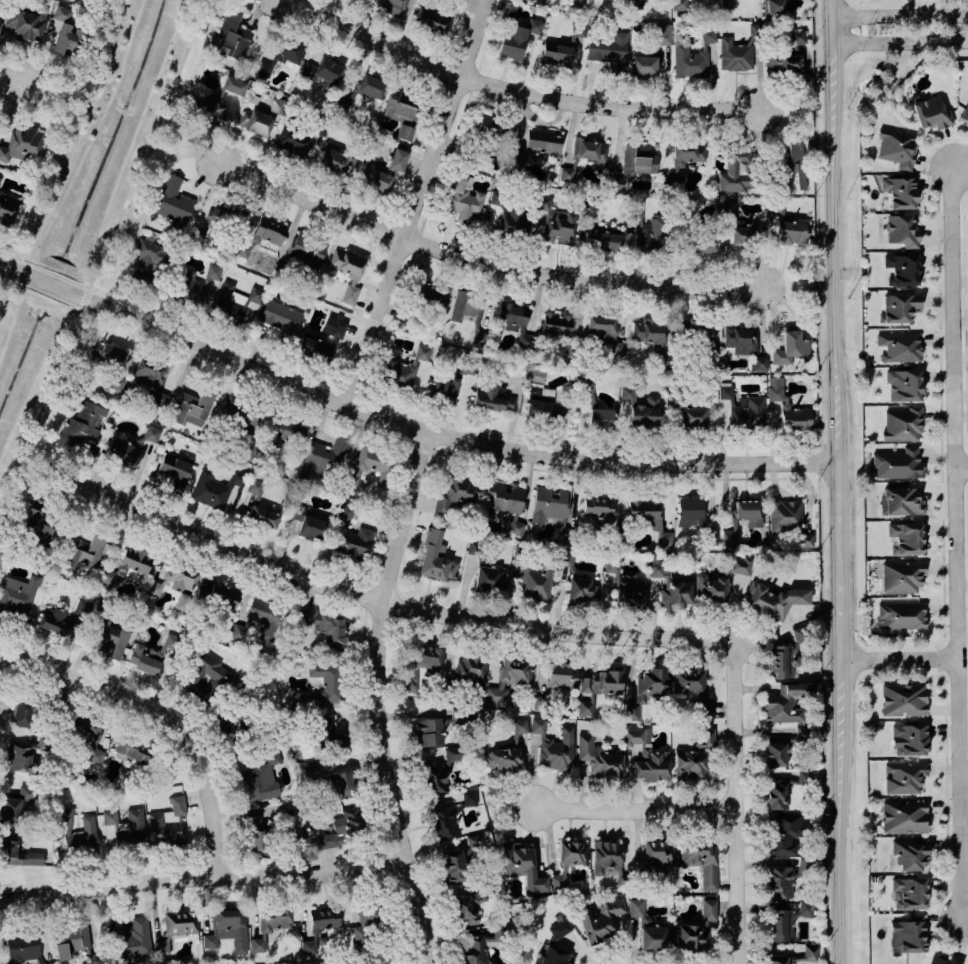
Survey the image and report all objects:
building: (635, 4)
building: (727, 4)
building: (681, 5)
street lamp: (868, 6)
building: (775, 7)
road: (902, 14)
building: (430, 20)
building: (0, 21)
building: (25, 21)
flagpole: (869, 25)
building: (577, 30)
building: (64, 31)
building: (663, 33)
flagpole: (869, 33)
building: (233, 35)
building: (516, 37)
road: (903, 39)
street lamp: (963, 49)
building: (608, 50)
building: (738, 50)
street lamp: (862, 51)
building: (282, 54)
building: (556, 54)
building: (787, 54)
building: (692, 56)
building: (643, 65)
building: (322, 72)
road: (24, 79)
building: (370, 87)
road: (520, 89)
road: (68, 92)
building: (217, 100)
building: (277, 106)
building: (400, 112)
building: (932, 113)
building: (963, 113)
building: (255, 121)
building: (490, 128)
road: (71, 139)
building: (20, 143)
building: (292, 143)
building: (536, 146)
building: (898, 148)
building: (583, 156)
building: (683, 157)
road: (175, 158)
building: (336, 159)
building: (396, 159)
building: (634, 161)
building: (793, 167)
building: (735, 171)
building: (0, 177)
building: (377, 179)
building: (900, 191)
road: (434, 196)
building: (463, 198)
building: (172, 200)
road: (416, 201)
building: (7, 209)
park: (83, 216)
building: (225, 216)
building: (512, 221)
building: (555, 222)
building: (738, 229)
building: (902, 230)
building: (791, 232)
building: (261, 236)
building: (602, 240)
building: (704, 242)
building: (307, 249)
street lamp: (944, 251)
road: (100, 256)
building: (147, 258)
road: (478, 258)
building: (903, 268)
road: (41, 270)
building: (347, 273)
road: (1, 276)
road: (3, 287)
road: (41, 293)
building: (430, 296)
building: (234, 300)
road: (145, 306)
building: (465, 307)
building: (900, 308)
road: (965, 311)
building: (281, 319)
road: (98, 321)
building: (517, 324)
building: (555, 325)
building: (647, 331)
building: (604, 333)
building: (479, 338)
building: (740, 339)
building: (322, 341)
building: (790, 347)
building: (897, 348)
building: (110, 356)
building: (758, 363)
building: (403, 366)
building: (467, 366)
street lamp: (962, 369)
building: (147, 375)
road: (940, 377)
building: (115, 383)
building: (902, 383)
building: (443, 389)
building: (725, 390)
building: (627, 393)
building: (491, 398)
building: (543, 406)
building: (192, 407)
building: (787, 407)
building: (644, 412)
building: (747, 413)
building: (693, 416)
building: (240, 417)
building: (600, 418)
road: (408, 422)
building: (902, 425)
building: (80, 426)
building: (287, 431)
road: (495, 431)
building: (128, 445)
building: (321, 457)
building: (896, 464)
building: (373, 465)
road: (962, 469)
road: (611, 471)
road: (844, 481)
street lamp: (947, 483)
building: (214, 488)
building: (255, 489)
building: (454, 493)
building: (503, 499)
building: (901, 501)
building: (548, 504)
building: (596, 508)
building: (748, 511)
building: (688, 512)
building: (643, 514)
building: (785, 515)
building: (262, 517)
building: (309, 523)
building: (36, 526)
building: (515, 527)
building: (728, 536)
building: (709, 537)
building: (663, 538)
building: (905, 539)
building: (805, 540)
building: (354, 542)
road: (381, 542)
road: (956, 544)
building: (474, 547)
building: (83, 553)
street lamp: (964, 557)
building: (436, 558)
building: (564, 558)
building: (126, 565)
building: (739, 565)
building: (490, 578)
building: (901, 578)
building: (538, 580)
building: (175, 583)
building: (671, 586)
building: (625, 588)
building: (711, 588)
building: (581, 590)
building: (17, 595)
building: (219, 596)
building: (773, 600)
road: (396, 604)
building: (61, 618)
building: (259, 618)
building: (900, 618)
building: (323, 626)
street lamp: (966, 635)
building: (111, 640)
building: (152, 654)
building: (786, 656)
road: (940, 657)
road: (901, 660)
road: (56, 665)
building: (422, 665)
street lamp: (870, 667)
building: (472, 670)
building: (561, 675)
building: (208, 678)
building: (508, 680)
building: (324, 685)
building: (651, 685)
building: (596, 689)
building: (693, 691)
road: (382, 696)
building: (903, 700)
building: (540, 703)
building: (786, 703)
building: (632, 712)
building: (23, 714)
building: (237, 721)
building: (519, 726)
building: (428, 732)
building: (801, 733)
building: (327, 734)
building: (88, 738)
building: (704, 738)
building: (910, 739)
building: (554, 747)
building: (132, 750)
building: (775, 754)
building: (22, 755)
road: (205, 757)
building: (503, 757)
building: (647, 757)
building: (598, 758)
street lamp: (951, 760)
building: (689, 764)
building: (441, 770)
building: (262, 778)
building: (904, 778)
building: (340, 784)
building: (776, 794)
building: (469, 799)
road: (740, 801)
building: (17, 805)
road: (639, 808)
road: (947, 816)
building: (904, 817)
building: (444, 821)
building: (168, 823)
building: (127, 827)
building: (344, 828)
building: (77, 833)
building: (256, 833)
building: (785, 833)
building: (18, 855)
building: (658, 855)
building: (909, 856)
building: (460, 860)
building: (569, 860)
building: (609, 862)
building: (701, 862)
building: (523, 867)
street lamp: (952, 873)
road: (206, 875)
building: (780, 881)
building: (909, 893)
road: (2, 900)
building: (470, 902)
building: (324, 918)
road: (967, 918)
building: (787, 921)
building: (365, 924)
building: (270, 925)
building: (175, 928)
building: (558, 928)
building: (647, 928)
building: (696, 928)
building: (227, 929)
building: (907, 936)
building: (134, 939)
building: (70, 940)
building: (310, 943)
building: (483, 944)
building: (22, 947)
building: (809, 952)
building: (554, 955)
building: (778, 959)
building: (943, 959)
building: (48, 963)

